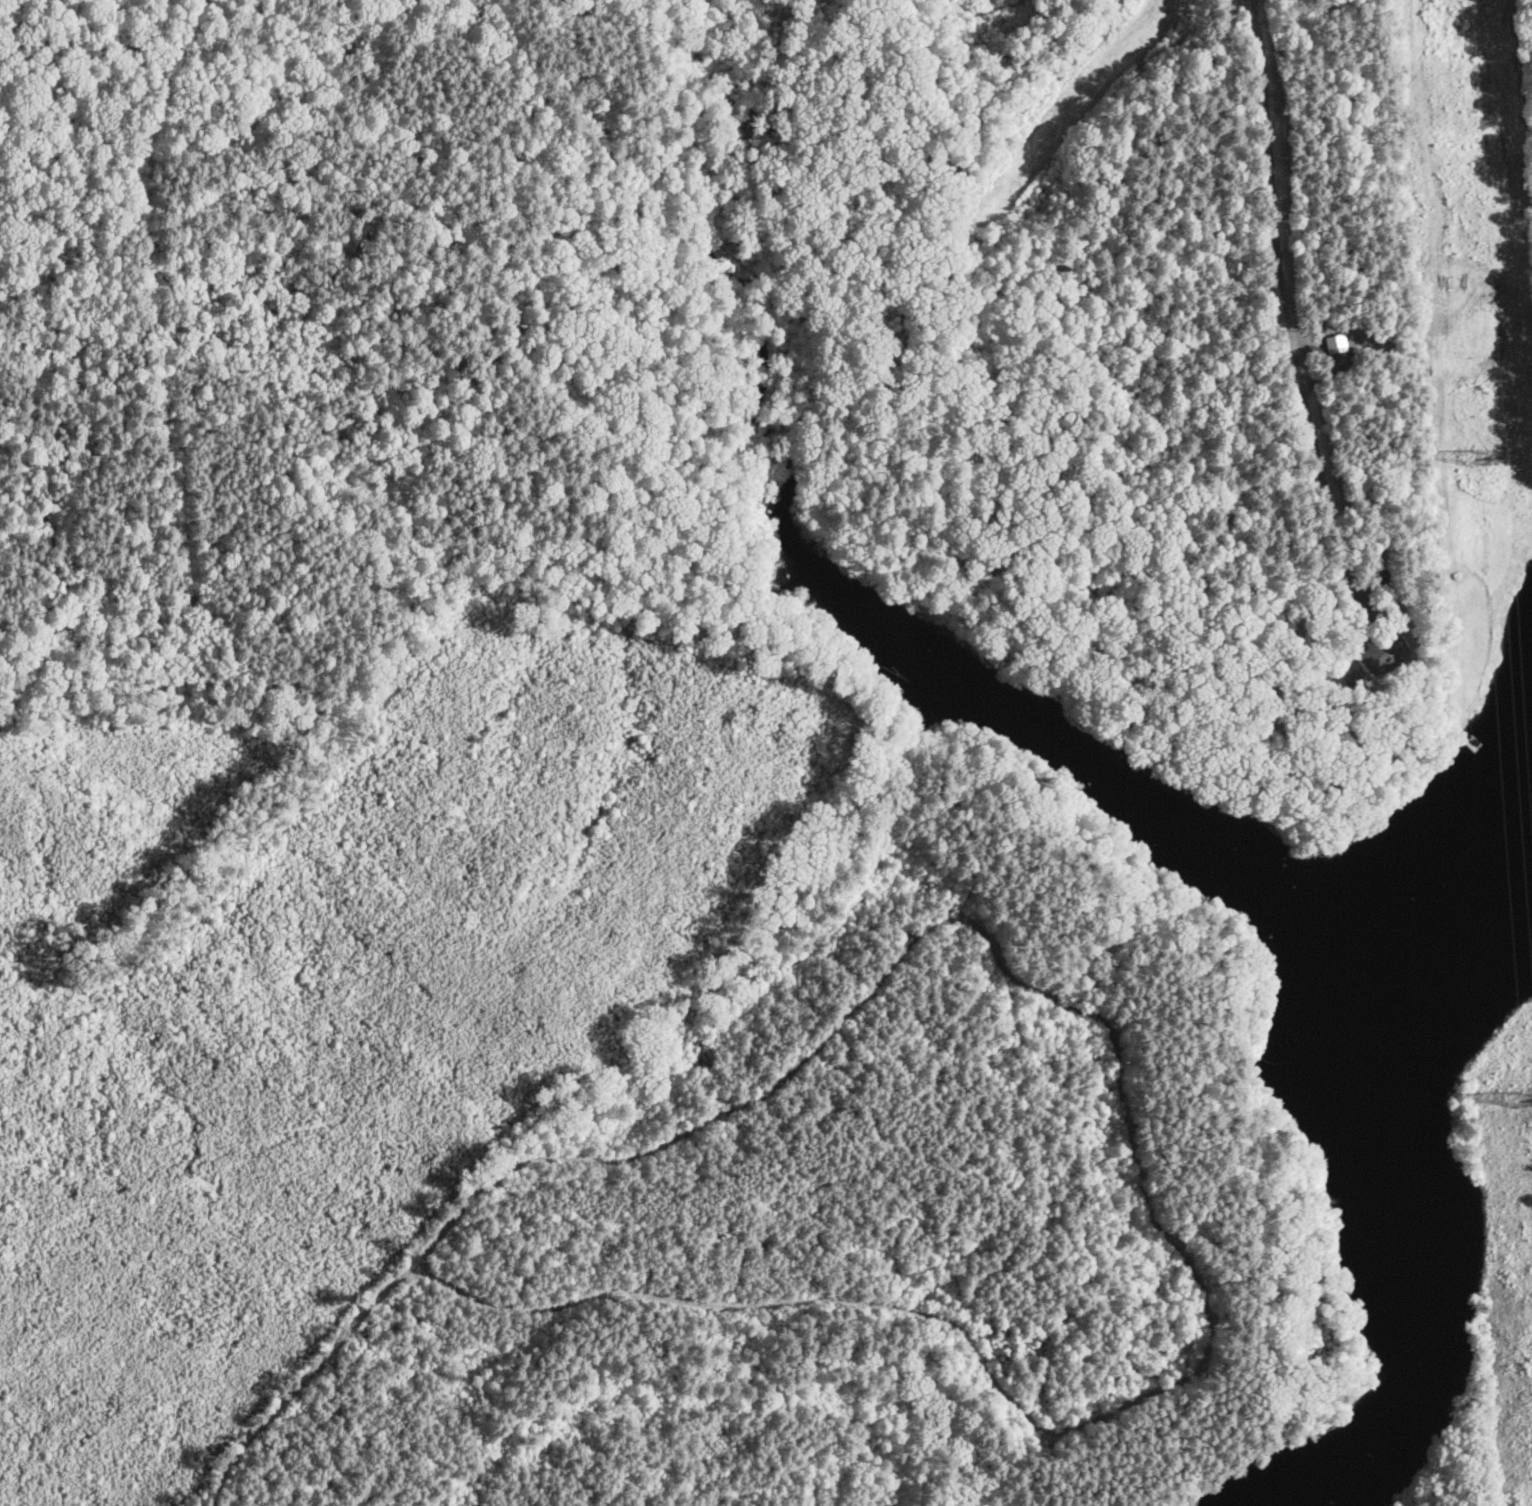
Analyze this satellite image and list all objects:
power tower: (1484, 474)
building: (1384, 564)
building: (1384, 653)
power tower: (1524, 1092)

